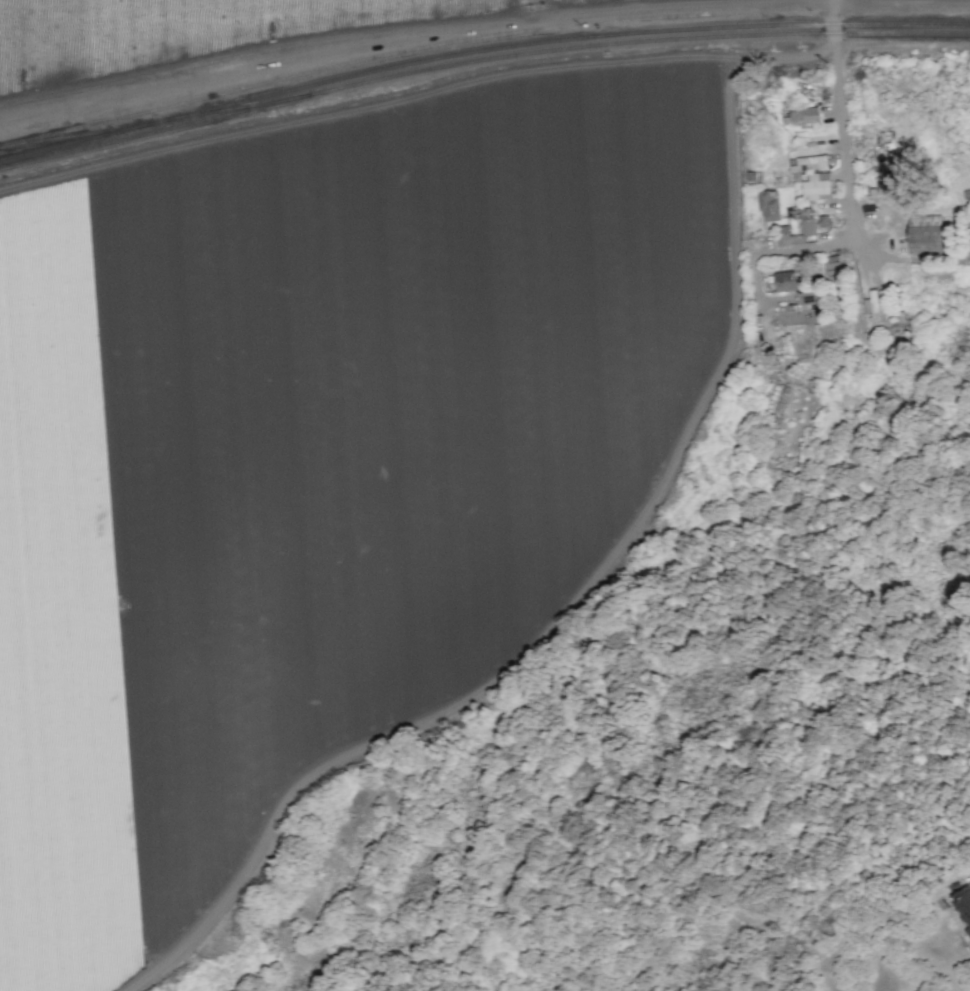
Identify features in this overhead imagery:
crop: (235, 31)
railway: (479, 50)
railway: (479, 61)
railway: (237, 106)
building: (801, 116)
railway: (77, 134)
building: (807, 165)
building: (816, 184)
building: (885, 186)
building: (769, 205)
road: (849, 207)
building: (807, 222)
building: (925, 234)
building: (797, 239)
building: (832, 268)
building: (785, 280)
building: (808, 299)
building: (875, 308)
building: (786, 343)
crop: (318, 454)
road: (607, 575)
building: (962, 901)
building: (968, 931)

